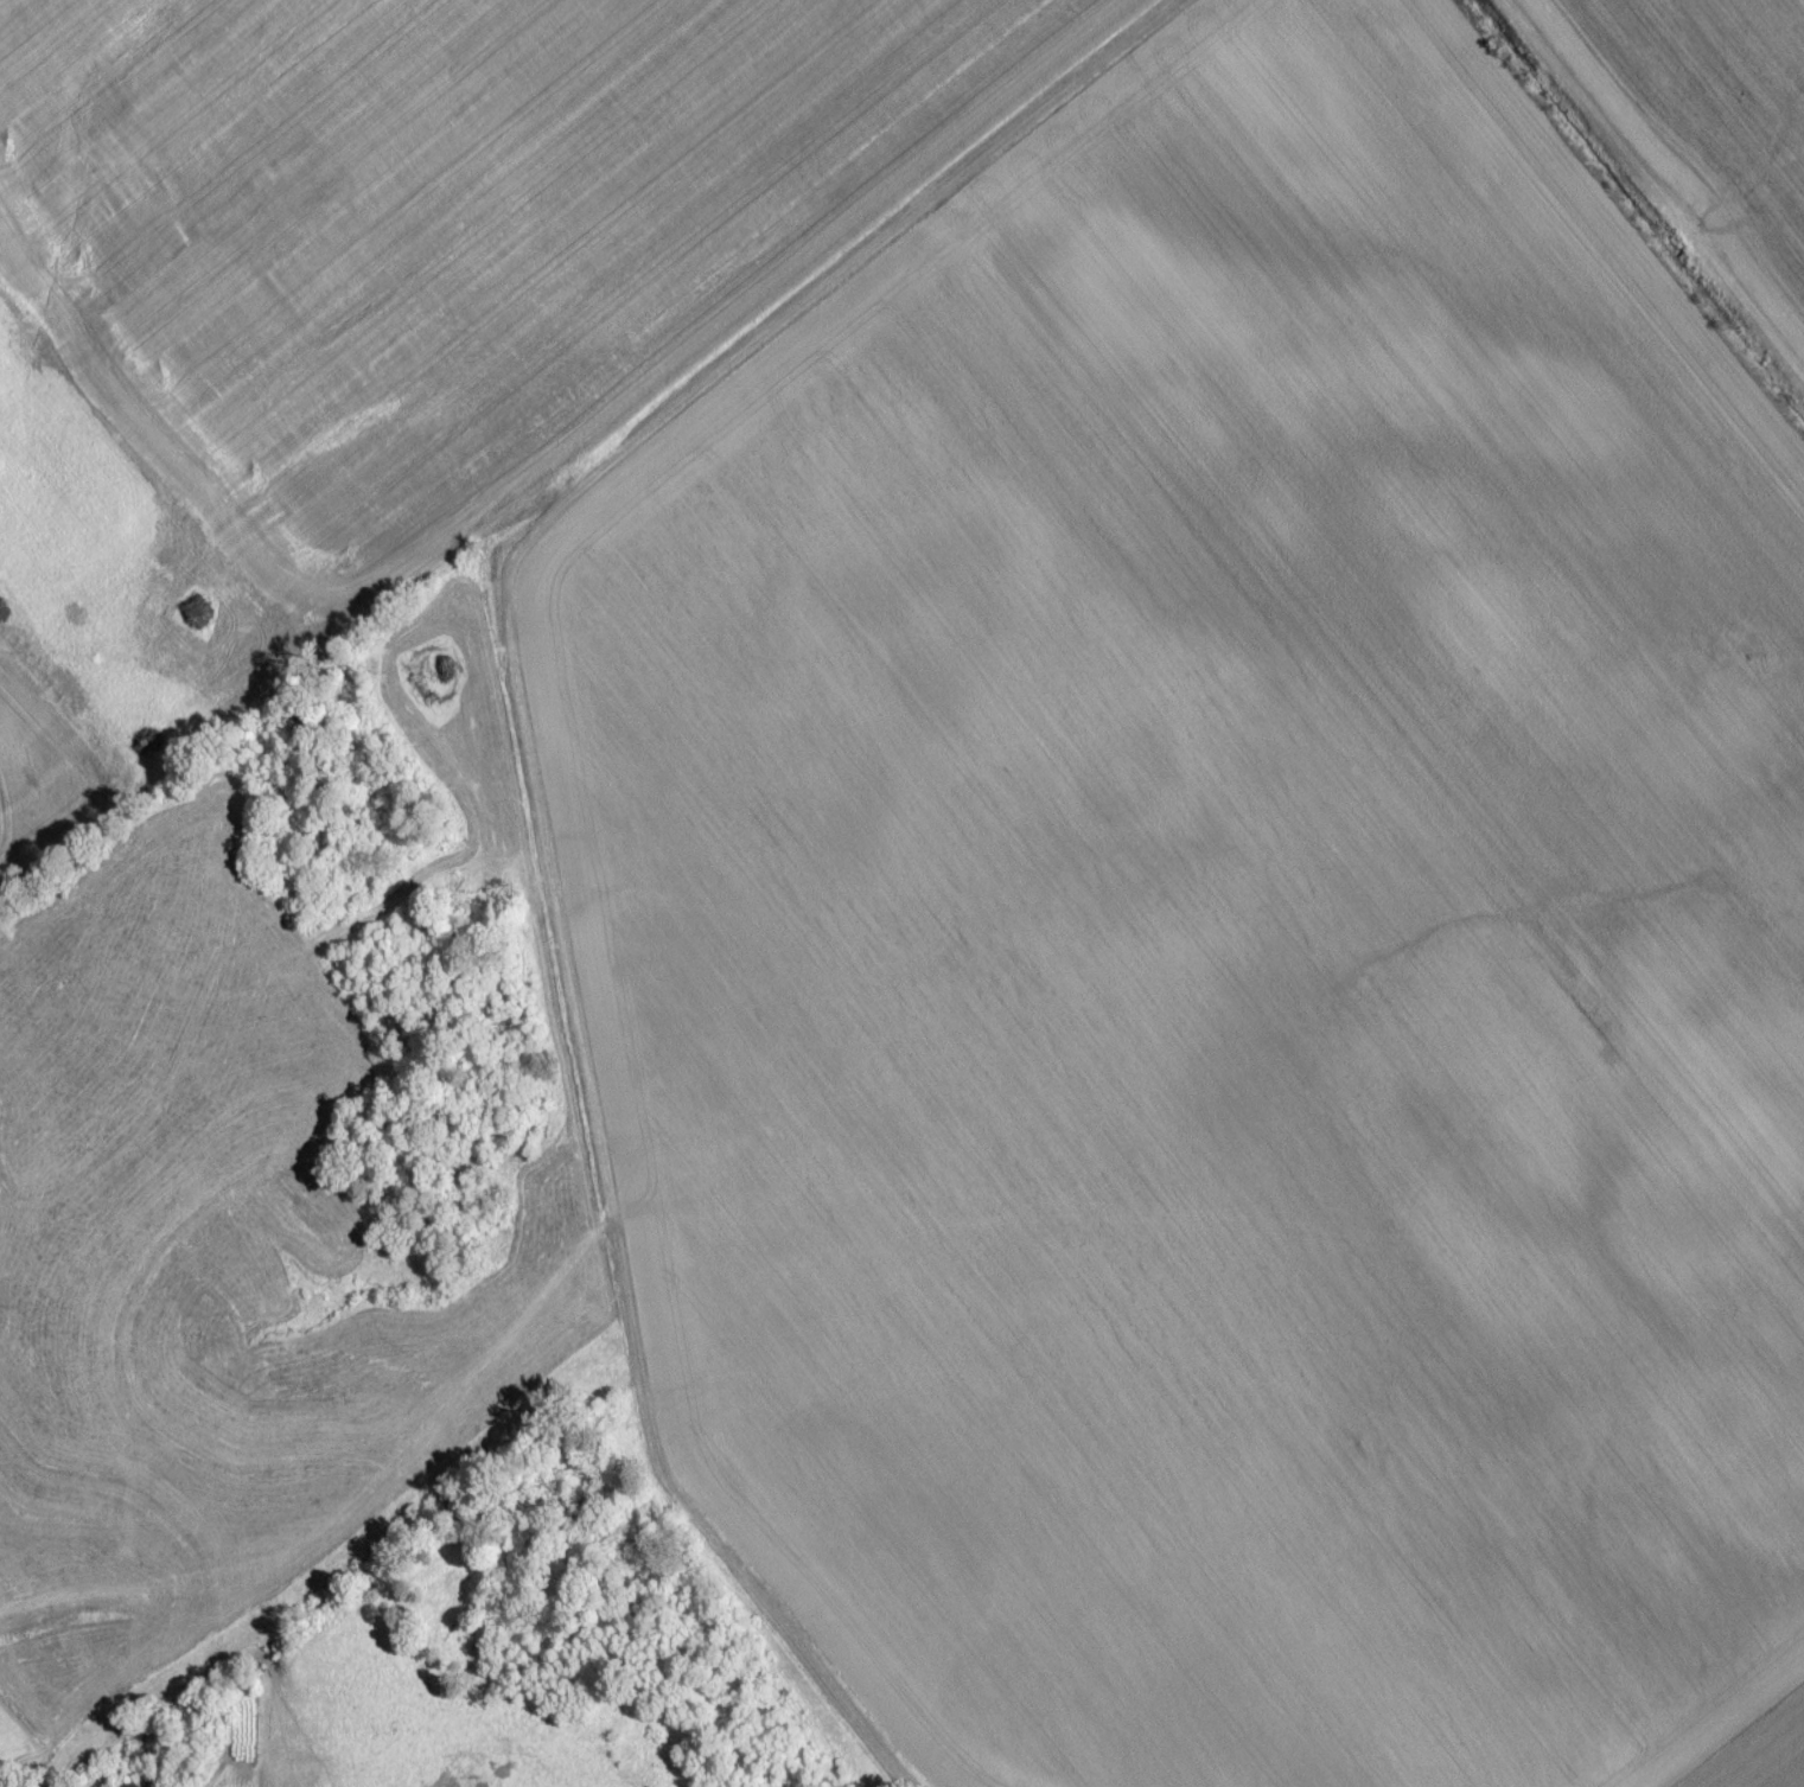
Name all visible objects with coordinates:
building: (130, 1786)

